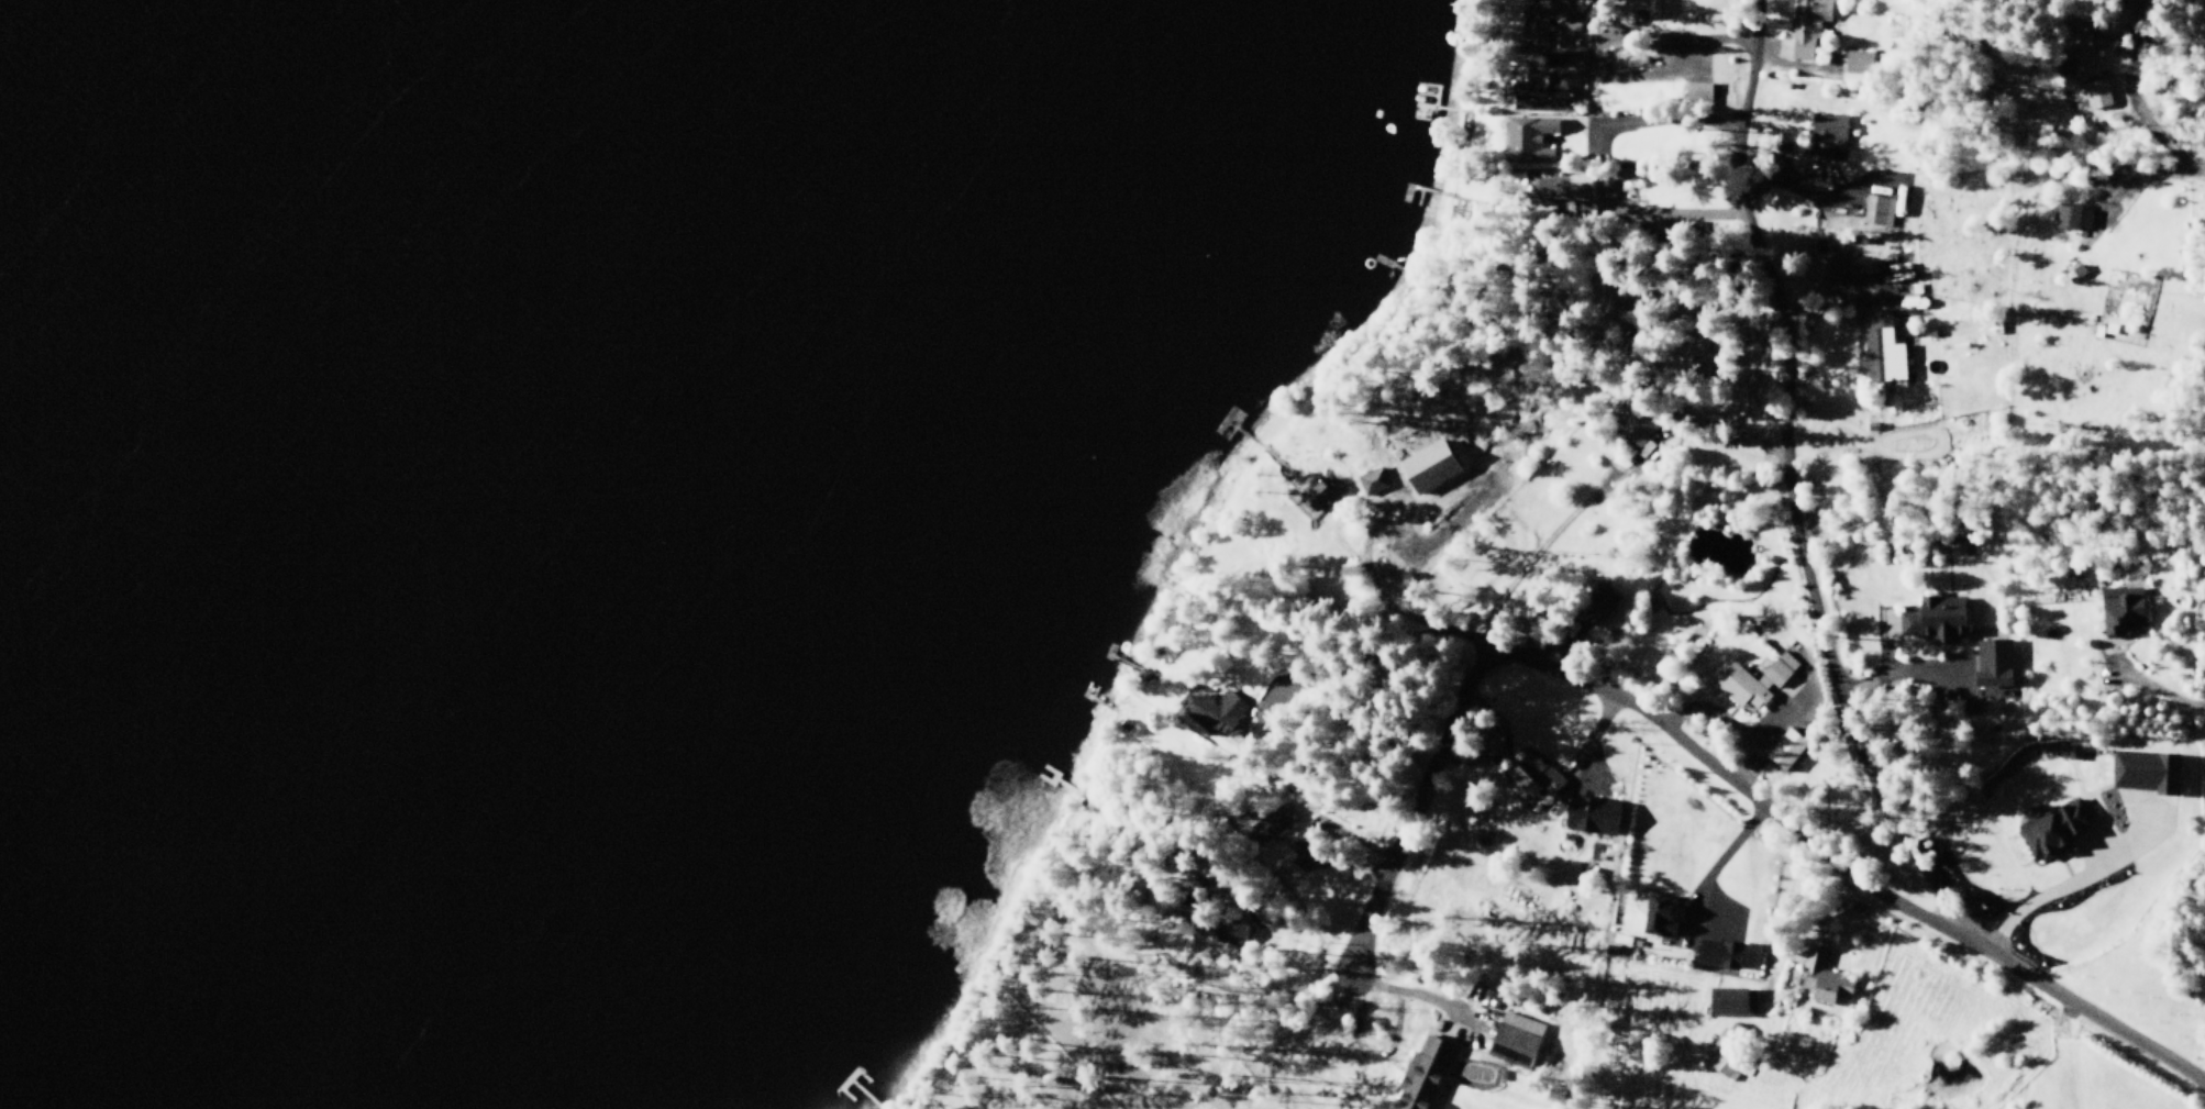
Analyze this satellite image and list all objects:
road: (1754, 0)
building: (1637, 8)
building: (1542, 18)
building: (1809, 31)
road: (1660, 42)
building: (2084, 66)
building: (1858, 70)
road: (1790, 71)
road: (1629, 78)
building: (1545, 89)
building: (1702, 91)
road: (1749, 107)
road: (2147, 111)
building: (1825, 135)
building: (1530, 144)
road: (1598, 167)
road: (2134, 179)
building: (1564, 188)
road: (1790, 193)
building: (1875, 210)
building: (2064, 219)
road: (1828, 289)
building: (1621, 299)
building: (1704, 347)
building: (1876, 352)
road: (1695, 414)
building: (1637, 423)
building: (1425, 462)
building: (1375, 476)
building: (1323, 490)
river: (202, 499)
road: (1531, 557)
road: (1363, 583)
road: (1810, 591)
building: (1594, 601)
building: (2119, 609)
building: (1936, 618)
road: (1559, 632)
road: (1884, 643)
road: (1332, 657)
building: (1992, 662)
road: (1899, 672)
building: (1757, 676)
road: (2143, 686)
road: (2204, 709)
building: (1218, 712)
building: (1264, 733)
road: (1761, 739)
road: (1594, 744)
building: (1784, 747)
road: (1505, 748)
building: (2145, 772)
building: (1532, 778)
road: (1410, 808)
building: (1594, 819)
building: (1267, 824)
building: (2047, 830)
road: (2088, 853)
road: (1041, 861)
road: (1331, 862)
road: (1836, 865)
building: (1293, 869)
road: (1714, 869)
road: (2079, 880)
building: (1655, 914)
building: (1236, 931)
road: (1797, 933)
building: (1718, 954)
building: (1819, 976)
road: (1440, 1000)
building: (1726, 1000)
road: (1176, 1005)
road: (1466, 1014)
building: (1516, 1038)
road: (1384, 1051)
building: (1726, 1051)
road: (1389, 1058)
building: (1422, 1072)
road: (2203, 1079)
building: (1554, 1094)

